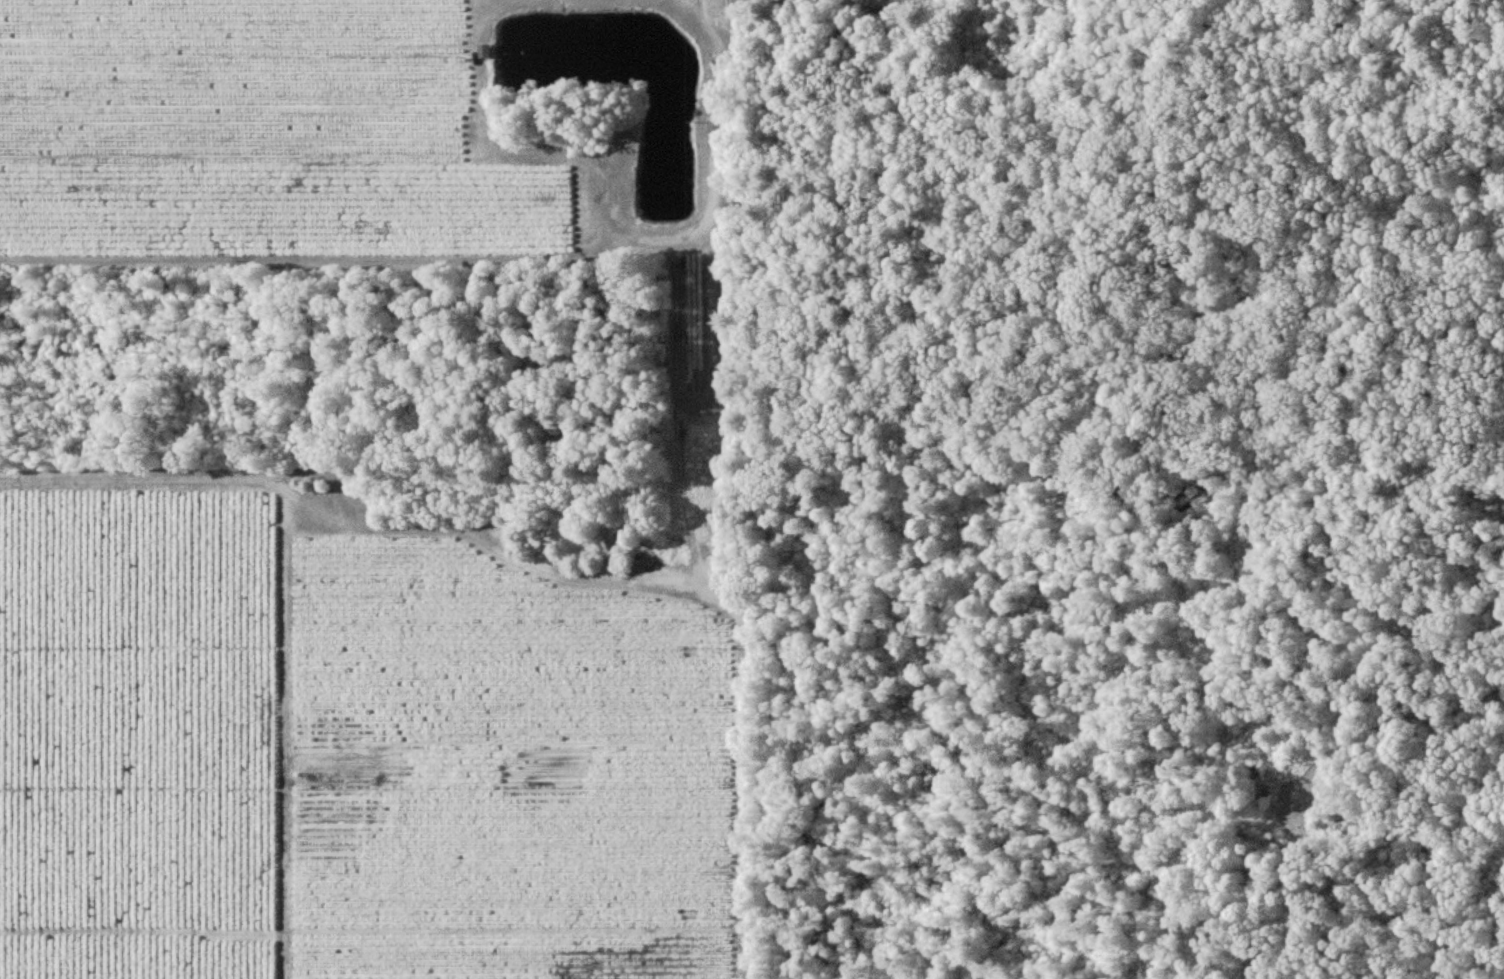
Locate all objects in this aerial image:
road: (290, 587)

